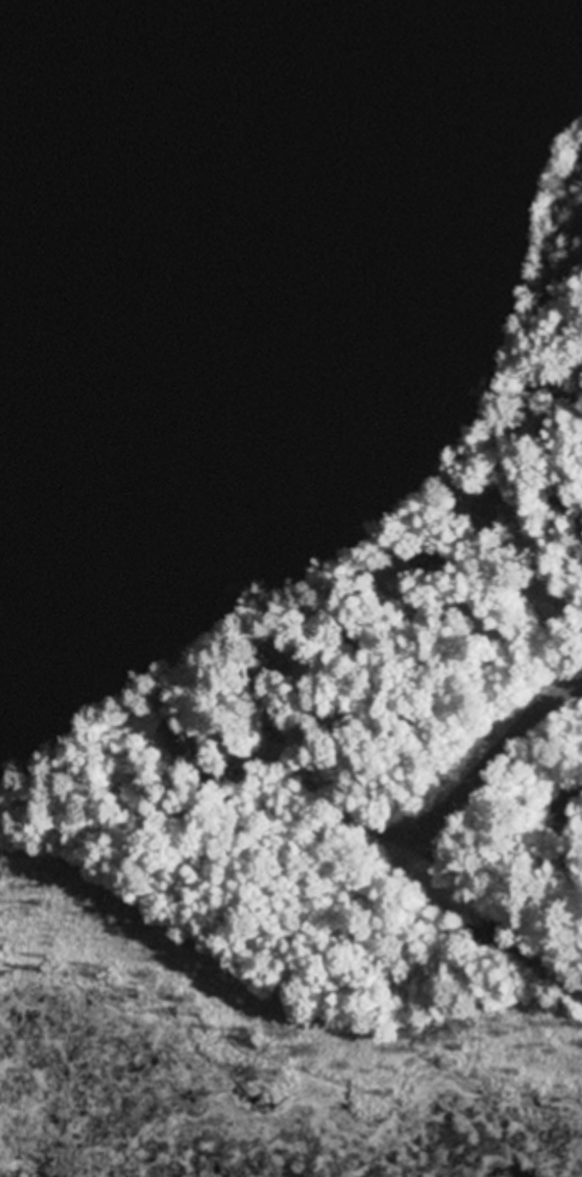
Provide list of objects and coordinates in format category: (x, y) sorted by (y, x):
building: (488, 508)
road: (484, 758)

